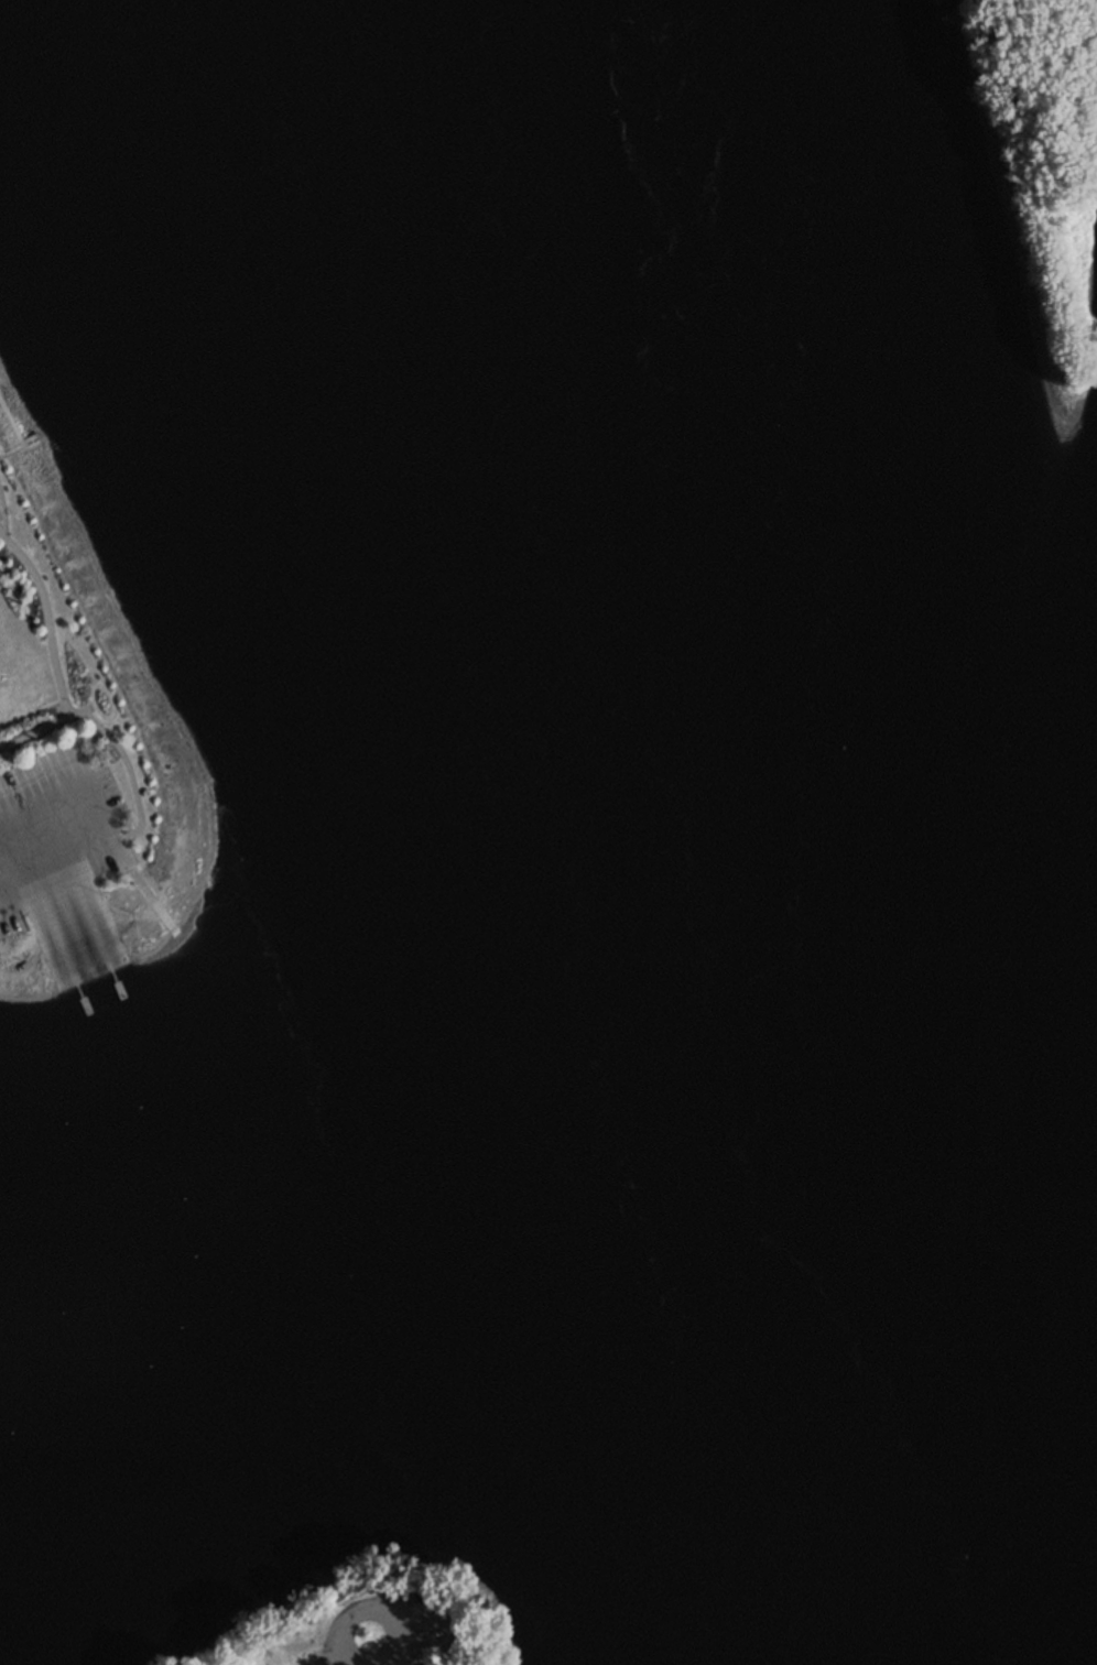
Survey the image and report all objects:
road: (1, 519)
road: (53, 655)
road: (86, 711)
park: (76, 727)
road: (144, 770)
road: (107, 824)
river: (584, 833)
parking lot: (63, 837)
road: (97, 897)
road: (65, 911)
road: (37, 921)
pier: (94, 934)
pier: (61, 947)
river: (325, 1230)
road: (394, 1611)
park: (372, 1629)
road: (369, 1661)

